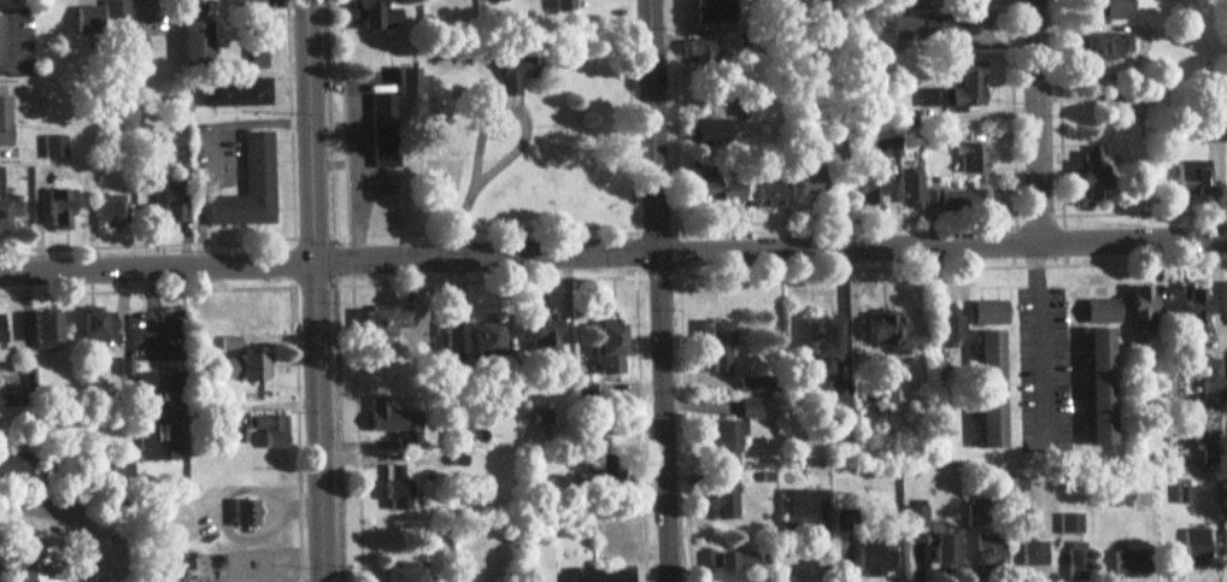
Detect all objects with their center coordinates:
building: (912, 4)
building: (245, 5)
building: (559, 5)
building: (1112, 8)
building: (111, 11)
building: (706, 11)
building: (366, 13)
building: (83, 19)
building: (920, 28)
building: (192, 41)
building: (1102, 46)
building: (0, 55)
building: (253, 57)
building: (693, 60)
building: (512, 72)
building: (404, 80)
building: (964, 84)
building: (231, 93)
building: (928, 96)
road: (1038, 119)
building: (2, 122)
building: (1215, 131)
building: (380, 140)
building: (51, 146)
building: (881, 147)
park: (522, 149)
building: (969, 158)
building: (1088, 174)
building: (806, 177)
building: (1190, 178)
building: (246, 186)
building: (906, 187)
building: (715, 188)
building: (868, 190)
building: (764, 194)
building: (927, 199)
building: (959, 199)
building: (160, 201)
building: (7, 210)
building: (106, 211)
building: (57, 212)
road: (769, 247)
road: (155, 266)
road: (312, 290)
railway: (333, 290)
road: (658, 290)
building: (1225, 302)
building: (1191, 307)
building: (1099, 311)
building: (987, 312)
building: (1139, 313)
building: (0, 325)
building: (93, 327)
building: (381, 328)
building: (945, 328)
building: (41, 329)
building: (539, 333)
building: (886, 333)
road: (1034, 337)
building: (485, 339)
building: (452, 340)
building: (227, 342)
building: (822, 345)
building: (715, 346)
building: (606, 348)
building: (243, 368)
building: (1226, 375)
building: (1208, 381)
building: (746, 384)
building: (1099, 386)
building: (987, 388)
building: (836, 395)
building: (746, 408)
building: (142, 417)
building: (382, 417)
building: (268, 430)
building: (169, 436)
building: (723, 436)
building: (12, 464)
building: (393, 488)
building: (721, 501)
building: (802, 508)
building: (241, 513)
building: (971, 515)
building: (911, 517)
building: (1067, 523)
building: (1223, 543)
building: (1193, 546)
building: (943, 551)
building: (987, 552)
building: (873, 554)
building: (1031, 554)
building: (551, 557)
building: (1074, 560)
building: (1128, 562)
building: (27, 564)
building: (727, 565)
building: (588, 575)

